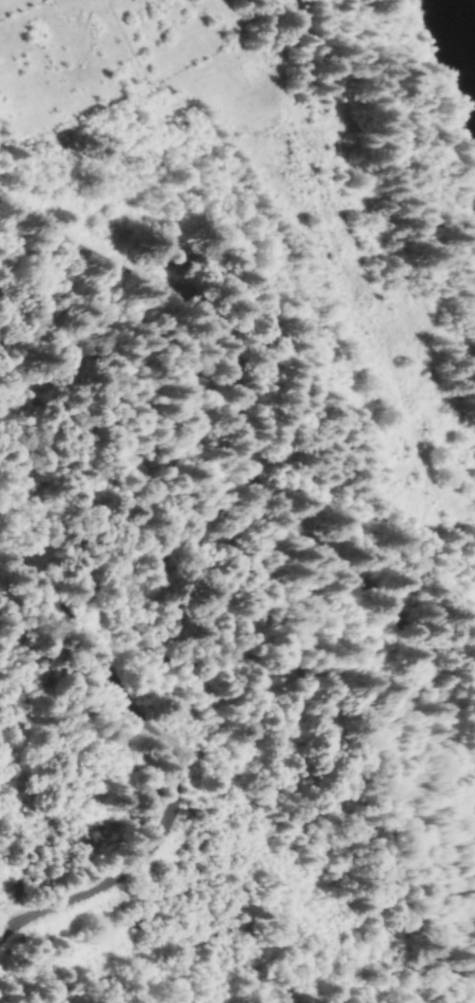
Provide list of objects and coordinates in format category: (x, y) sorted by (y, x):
river: (461, 49)
road: (251, 321)
road: (153, 754)

